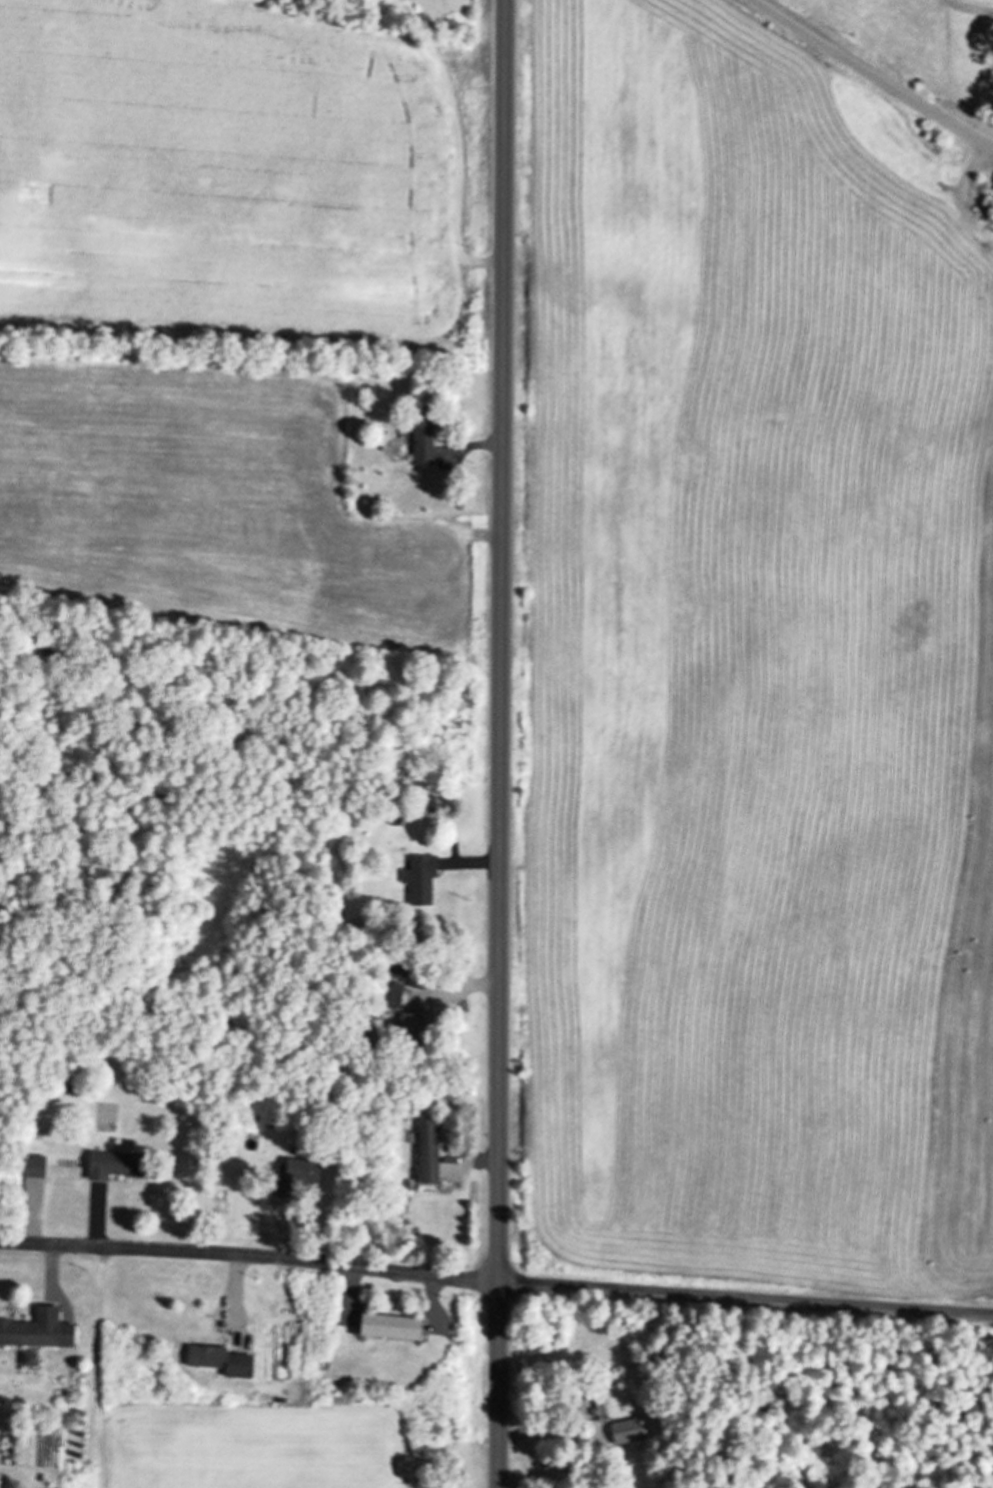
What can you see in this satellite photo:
road: (873, 75)
building: (423, 436)
road: (501, 743)
building: (419, 878)
building: (406, 973)
building: (411, 1026)
building: (427, 1151)
building: (114, 1164)
building: (29, 1165)
building: (297, 1178)
road: (496, 1283)
building: (388, 1326)
building: (37, 1329)
building: (218, 1359)
building: (597, 1404)
building: (626, 1430)

